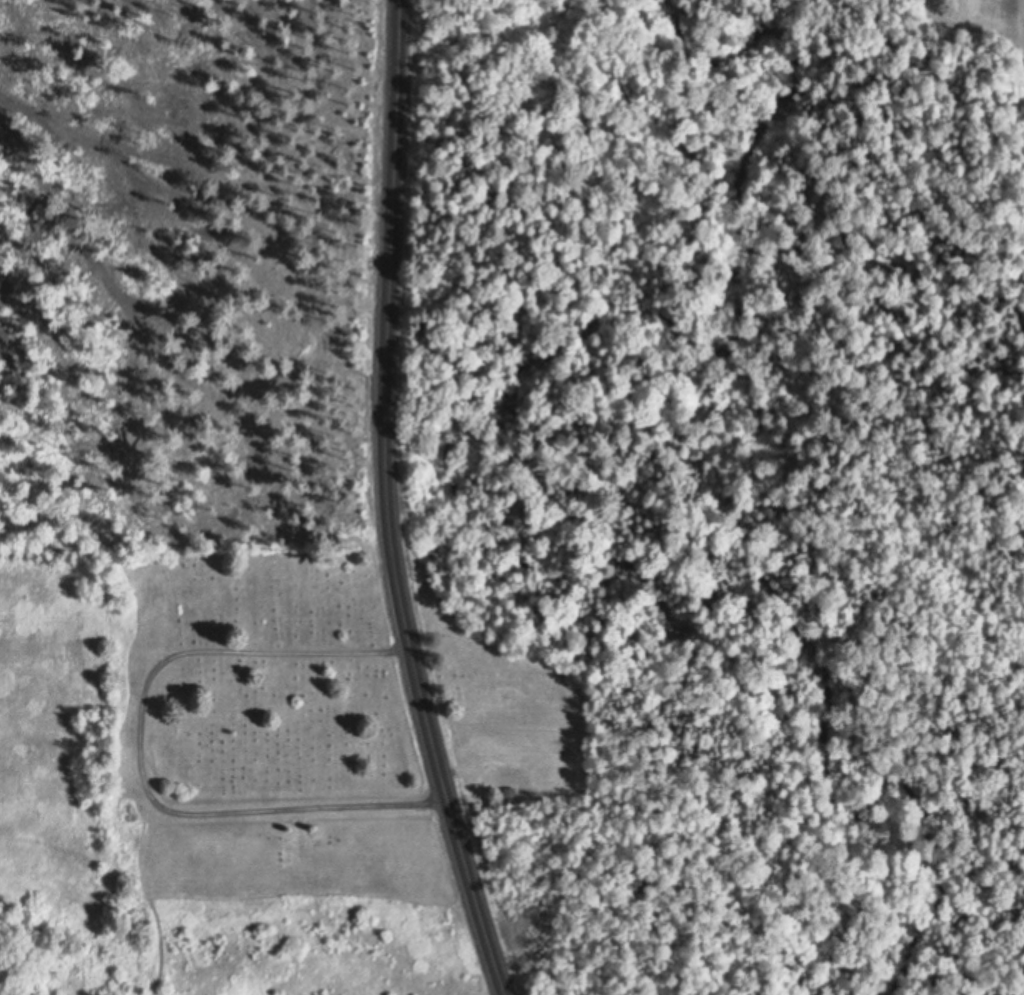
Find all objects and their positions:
road: (386, 504)
park: (275, 735)
road: (140, 753)
building: (510, 793)

